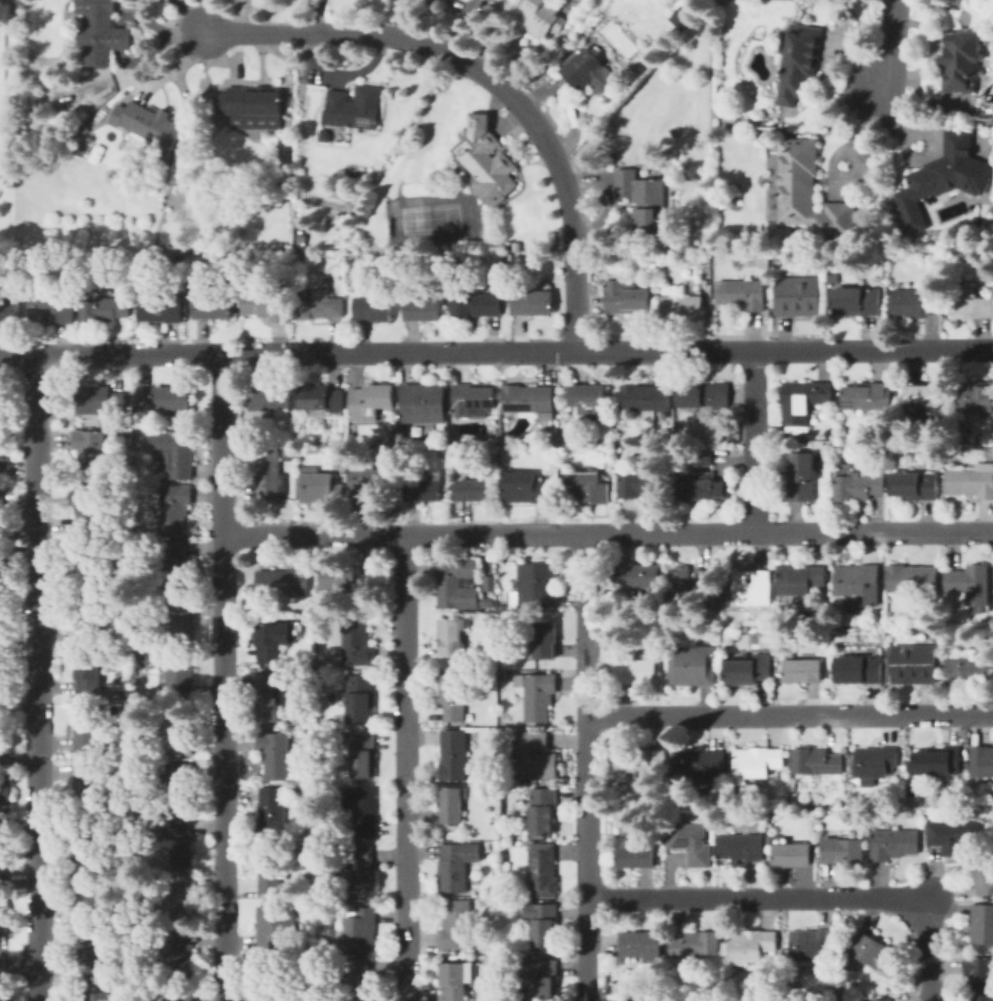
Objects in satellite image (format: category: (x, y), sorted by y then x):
road: (204, 16)
building: (536, 17)
building: (678, 17)
building: (102, 32)
road: (893, 46)
building: (795, 60)
building: (958, 60)
building: (593, 73)
road: (489, 81)
road: (5, 94)
building: (250, 103)
building: (356, 108)
road: (861, 121)
building: (149, 125)
park: (8, 129)
building: (324, 137)
road: (833, 155)
building: (489, 162)
building: (939, 176)
building: (806, 190)
building: (643, 200)
park: (429, 217)
building: (978, 226)
building: (835, 279)
building: (742, 294)
building: (798, 295)
building: (626, 298)
building: (210, 301)
building: (857, 301)
building: (533, 302)
building: (915, 302)
building: (972, 302)
building: (268, 303)
building: (476, 305)
building: (109, 306)
building: (162, 306)
building: (317, 306)
building: (684, 306)
building: (52, 307)
building: (375, 308)
building: (425, 309)
building: (10, 310)
road: (496, 350)
building: (706, 395)
building: (924, 396)
building: (978, 396)
building: (273, 397)
building: (323, 397)
building: (868, 397)
building: (646, 398)
building: (167, 399)
building: (532, 399)
building: (591, 399)
building: (2, 400)
building: (101, 400)
building: (475, 400)
building: (373, 401)
building: (805, 401)
building: (426, 402)
road: (756, 441)
building: (176, 452)
building: (92, 453)
building: (0, 456)
building: (705, 457)
building: (272, 476)
building: (804, 476)
building: (970, 482)
building: (366, 484)
building: (703, 484)
building: (861, 485)
building: (641, 486)
building: (916, 486)
building: (528, 487)
building: (588, 487)
building: (319, 488)
building: (427, 488)
building: (477, 490)
building: (92, 503)
building: (174, 507)
building: (2, 514)
road: (608, 534)
building: (98, 563)
building: (178, 564)
building: (1, 569)
building: (637, 576)
building: (348, 579)
building: (804, 579)
building: (914, 581)
building: (284, 582)
building: (688, 582)
building: (861, 583)
building: (459, 584)
building: (540, 584)
building: (973, 584)
building: (258, 585)
building: (755, 588)
building: (93, 620)
building: (180, 622)
building: (454, 636)
building: (546, 638)
building: (4, 640)
building: (270, 642)
building: (359, 642)
building: (913, 663)
building: (689, 665)
building: (969, 668)
building: (858, 669)
building: (749, 670)
building: (2, 671)
building: (804, 671)
building: (178, 672)
building: (639, 672)
building: (90, 675)
road: (223, 675)
road: (36, 676)
building: (272, 695)
building: (539, 695)
building: (455, 696)
building: (363, 697)
road: (790, 714)
building: (91, 732)
building: (178, 732)
building: (359, 753)
building: (276, 755)
building: (455, 755)
building: (537, 756)
building: (0, 758)
building: (644, 760)
building: (940, 761)
building: (982, 761)
building: (701, 762)
building: (758, 762)
building: (817, 762)
building: (876, 762)
road: (404, 768)
road: (587, 768)
building: (91, 784)
building: (179, 785)
building: (6, 792)
building: (453, 805)
building: (358, 809)
building: (544, 810)
building: (273, 813)
building: (952, 833)
building: (180, 840)
building: (771, 840)
building: (692, 842)
building: (87, 844)
building: (895, 844)
building: (741, 847)
building: (311, 849)
building: (844, 850)
building: (792, 855)
building: (636, 857)
building: (459, 866)
building: (2, 869)
building: (543, 870)
building: (359, 872)
building: (273, 875)
building: (984, 875)
building: (92, 897)
building: (181, 897)
road: (755, 897)
building: (4, 908)
building: (543, 922)
building: (982, 924)
building: (460, 927)
building: (278, 928)
building: (361, 931)
building: (697, 944)
building: (752, 944)
building: (813, 944)
building: (643, 945)
building: (875, 952)
road: (931, 952)
building: (181, 954)
building: (91, 957)
road: (19, 961)
building: (981, 978)
building: (363, 979)
building: (457, 979)
building: (544, 979)
building: (270, 984)
building: (98, 994)
building: (185, 994)
building: (5, 997)
building: (634, 1000)
building: (883, 1000)

